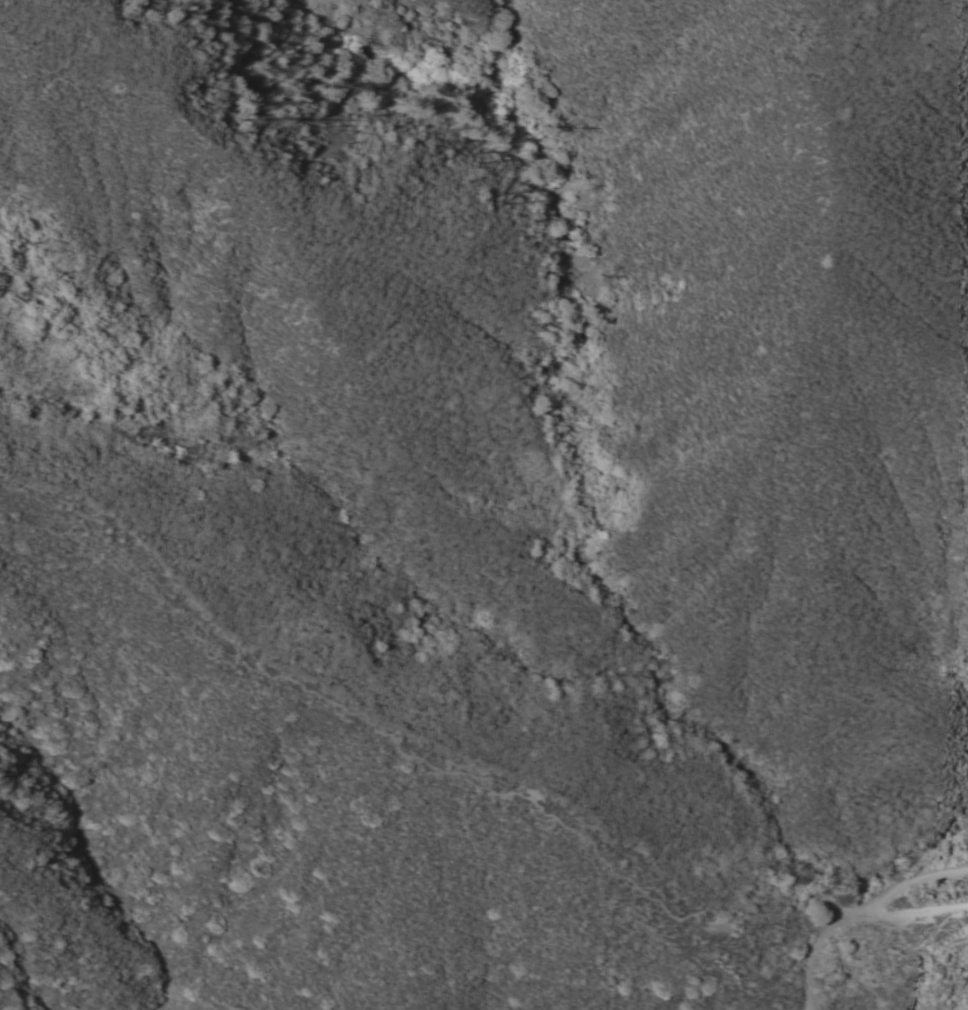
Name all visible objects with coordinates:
road: (909, 889)
road: (910, 917)
road: (814, 954)

